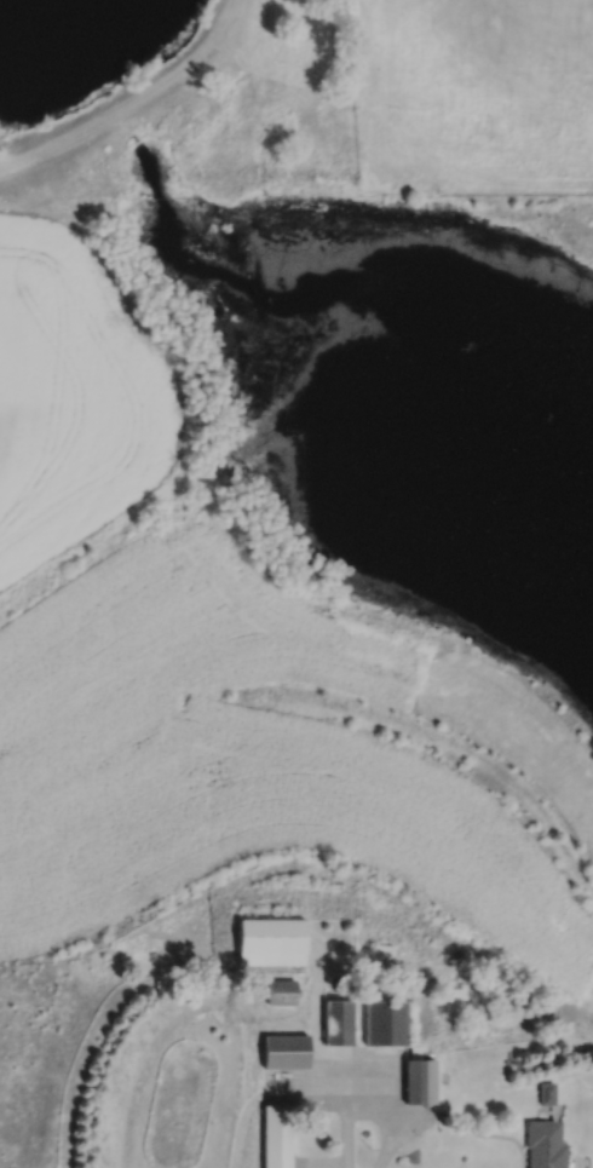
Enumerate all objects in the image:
building: (271, 943)
building: (282, 992)
building: (339, 1023)
building: (387, 1023)
building: (287, 1051)
building: (420, 1081)
road: (340, 1101)
road: (411, 1116)
building: (278, 1135)
building: (545, 1145)

